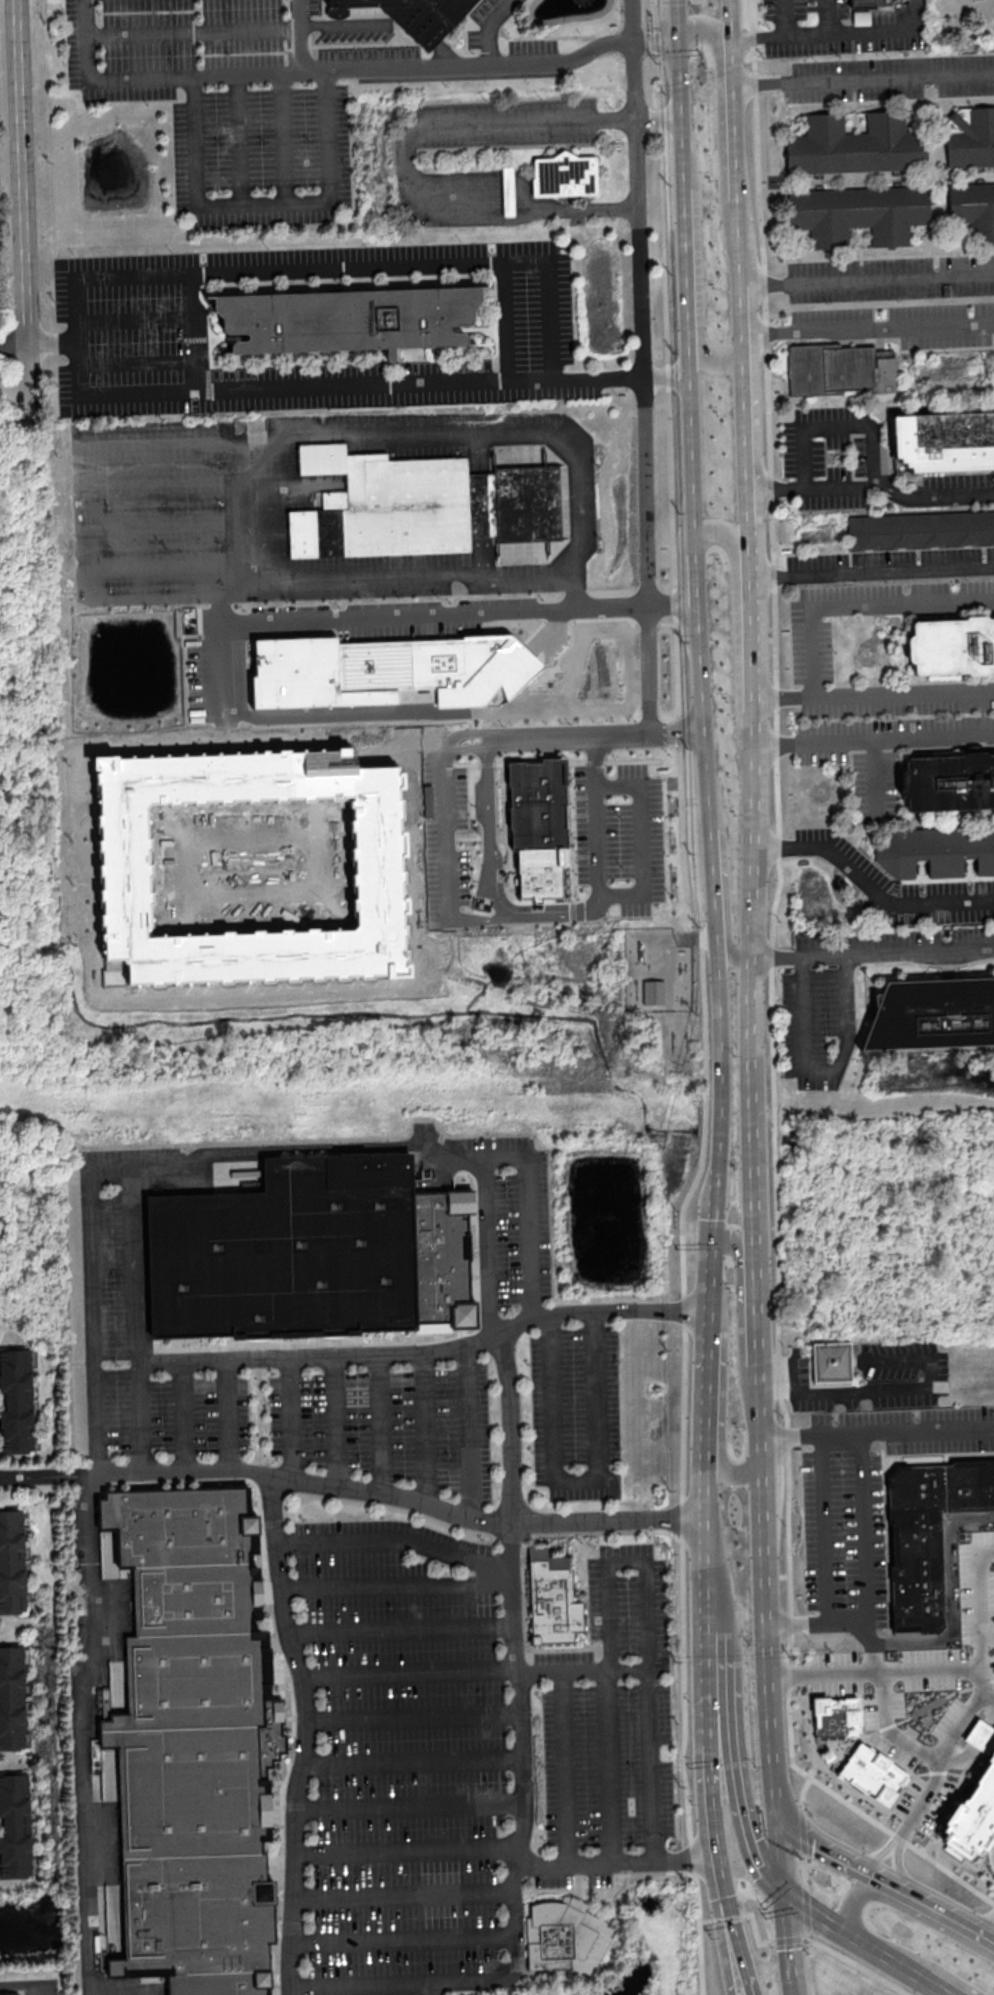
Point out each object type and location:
road: (677, 0)
building: (869, 3)
road: (918, 14)
building: (416, 15)
road: (828, 16)
building: (860, 16)
road: (782, 18)
parking lot: (487, 21)
road: (345, 22)
road: (417, 25)
parking lot: (837, 27)
road: (487, 28)
road: (192, 31)
road: (850, 32)
road: (298, 35)
road: (757, 36)
road: (653, 40)
traffic signals: (677, 42)
road: (752, 42)
road: (445, 53)
road: (466, 64)
road: (153, 77)
road: (863, 79)
parking lot: (240, 94)
road: (656, 118)
road: (517, 122)
road: (721, 124)
building: (970, 136)
road: (282, 137)
road: (238, 139)
road: (736, 143)
building: (855, 144)
building: (563, 174)
building: (507, 190)
road: (425, 193)
road: (507, 195)
road: (263, 201)
road: (21, 207)
road: (573, 208)
building: (973, 208)
building: (857, 212)
road: (696, 272)
road: (868, 281)
building: (347, 318)
road: (134, 319)
road: (77, 321)
road: (503, 321)
road: (869, 330)
road: (192, 331)
road: (52, 343)
road: (13, 345)
road: (136, 363)
road: (642, 366)
building: (838, 368)
road: (665, 376)
road: (835, 426)
building: (944, 441)
road: (171, 442)
road: (272, 450)
parking lot: (834, 452)
road: (160, 482)
road: (872, 485)
building: (418, 505)
road: (162, 522)
building: (920, 530)
road: (164, 566)
road: (872, 574)
road: (225, 597)
road: (695, 598)
road: (670, 605)
road: (825, 606)
road: (735, 608)
road: (269, 621)
building: (952, 646)
building: (391, 672)
road: (904, 692)
road: (565, 736)
road: (873, 739)
road: (466, 748)
road: (754, 769)
road: (872, 778)
building: (948, 783)
road: (595, 815)
building: (537, 826)
parking lot: (620, 835)
road: (446, 837)
road: (641, 839)
building: (937, 851)
road: (491, 868)
building: (377, 873)
road: (725, 889)
road: (869, 889)
road: (595, 902)
road: (521, 918)
road: (873, 955)
road: (92, 968)
building: (653, 991)
parking lot: (846, 992)
road: (703, 998)
building: (932, 1016)
road: (772, 1048)
road: (821, 1073)
road: (309, 1147)
road: (528, 1217)
road: (734, 1244)
road: (487, 1249)
road: (710, 1253)
building: (315, 1254)
traffic signals: (710, 1256)
road: (137, 1268)
road: (93, 1302)
road: (760, 1330)
road: (320, 1357)
road: (908, 1358)
building: (832, 1362)
parking lot: (368, 1367)
road: (706, 1376)
road: (844, 1391)
building: (16, 1400)
road: (228, 1415)
road: (183, 1416)
road: (139, 1417)
road: (291, 1418)
road: (335, 1421)
road: (380, 1423)
road: (424, 1428)
road: (926, 1429)
road: (468, 1431)
road: (839, 1433)
road: (789, 1434)
road: (728, 1471)
road: (43, 1474)
road: (578, 1480)
road: (329, 1484)
parking lot: (865, 1501)
road: (864, 1527)
road: (822, 1528)
road: (705, 1530)
building: (928, 1534)
road: (394, 1539)
building: (11, 1561)
road: (625, 1562)
road: (396, 1585)
road: (950, 1593)
building: (555, 1597)
road: (765, 1600)
road: (796, 1623)
road: (847, 1623)
road: (400, 1629)
road: (870, 1633)
road: (94, 1644)
road: (962, 1668)
road: (475, 1670)
road: (787, 1674)
road: (714, 1689)
road: (987, 1693)
road: (522, 1695)
building: (11, 1698)
road: (729, 1709)
road: (963, 1716)
road: (415, 1718)
building: (839, 1718)
road: (903, 1718)
road: (992, 1722)
road: (982, 1735)
building: (982, 1736)
building: (197, 1740)
road: (910, 1745)
parking lot: (468, 1754)
road: (958, 1761)
road: (414, 1763)
road: (822, 1766)
road: (565, 1768)
building: (875, 1773)
road: (802, 1790)
traffic signals: (778, 1791)
road: (411, 1806)
building: (973, 1811)
building: (14, 1825)
road: (715, 1828)
road: (802, 1830)
road: (809, 1836)
road: (783, 1843)
road: (408, 1851)
road: (756, 1852)
road: (888, 1857)
road: (804, 1870)
road: (405, 1896)
traffic signals: (788, 1896)
road: (925, 1902)
road: (900, 1905)
road: (806, 1911)
road: (723, 1920)
road: (840, 1930)
road: (757, 1932)
road: (993, 1937)
road: (993, 1938)
building: (565, 1939)
road: (740, 1939)
road: (791, 1939)
road: (405, 1941)
road: (791, 1945)
road: (724, 1946)
road: (858, 1965)
road: (923, 1977)
road: (459, 1985)
road: (754, 1989)
road: (430, 1990)
building: (9, 1994)

